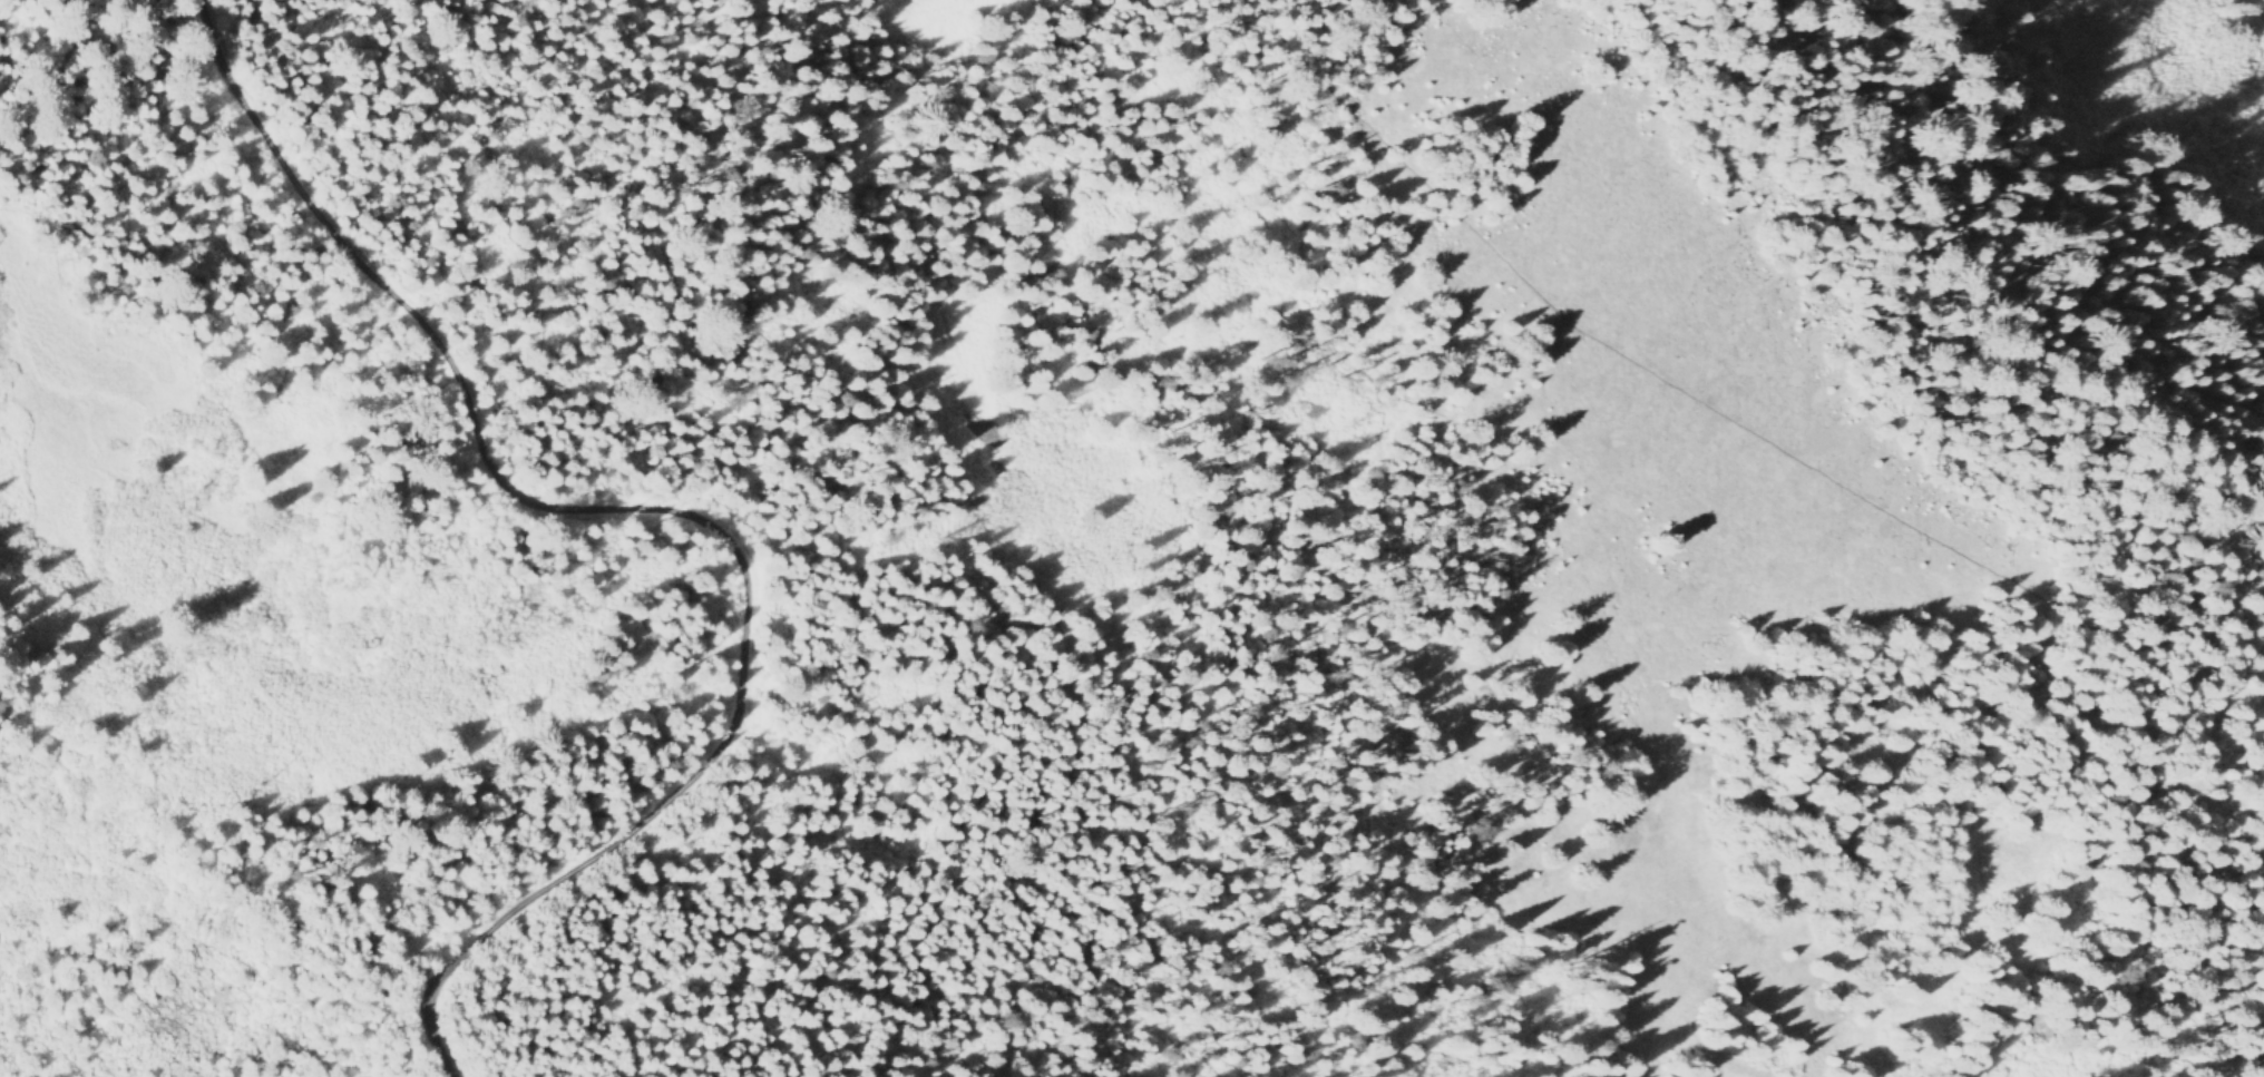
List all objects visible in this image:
road: (1735, 418)
road: (658, 513)

